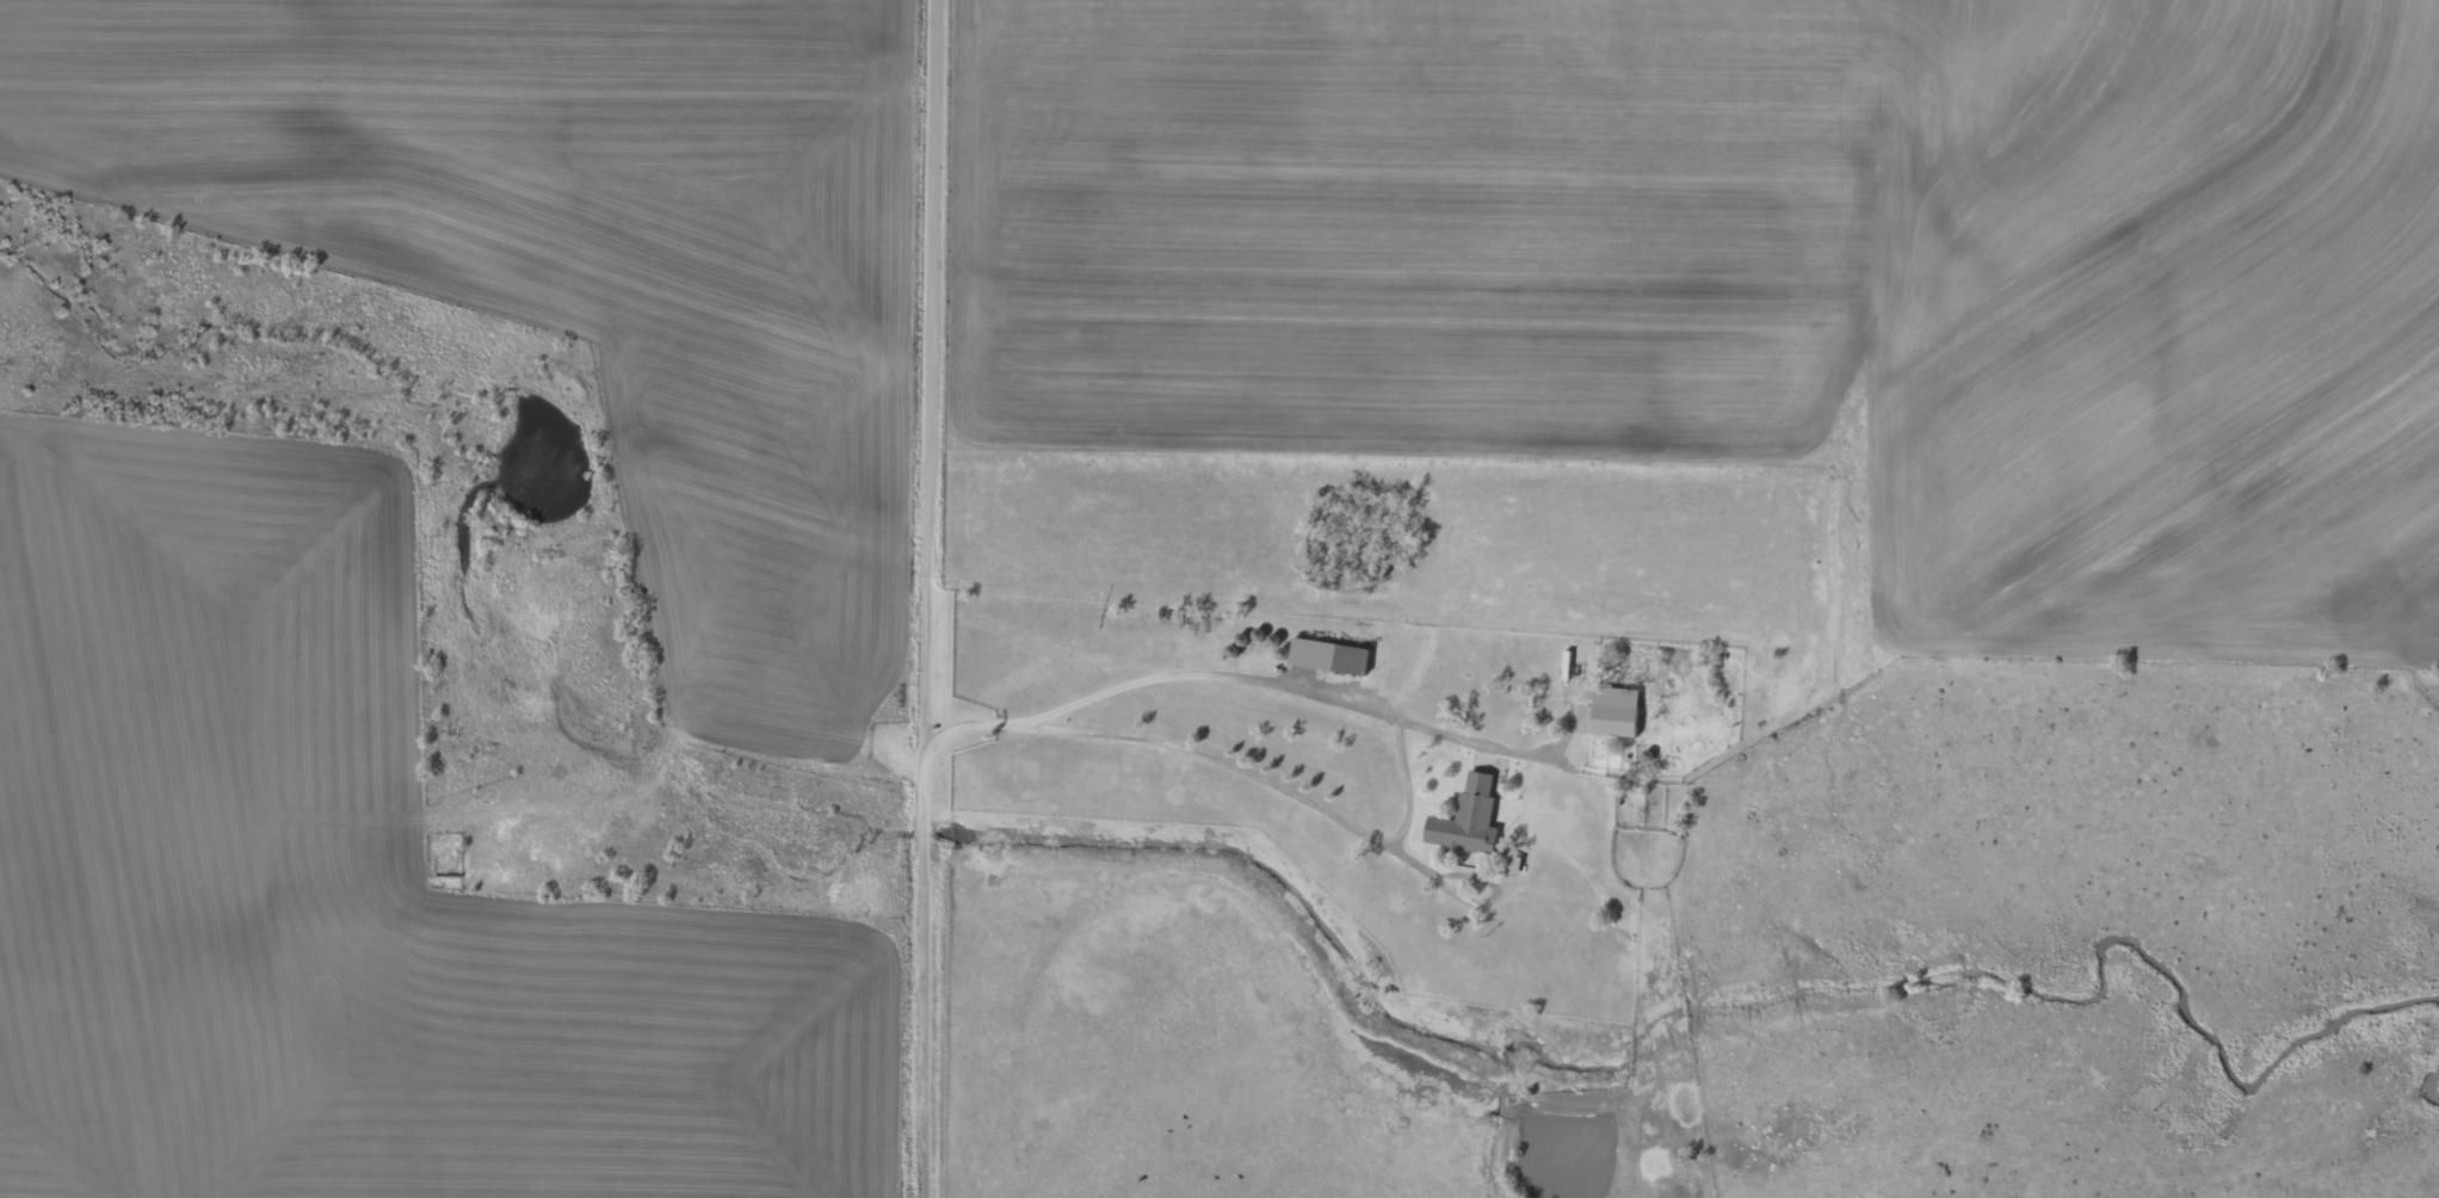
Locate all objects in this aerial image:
road: (937, 599)
building: (1336, 657)
building: (1608, 715)
road: (774, 747)
building: (1472, 815)
park: (450, 860)
road: (1456, 901)

